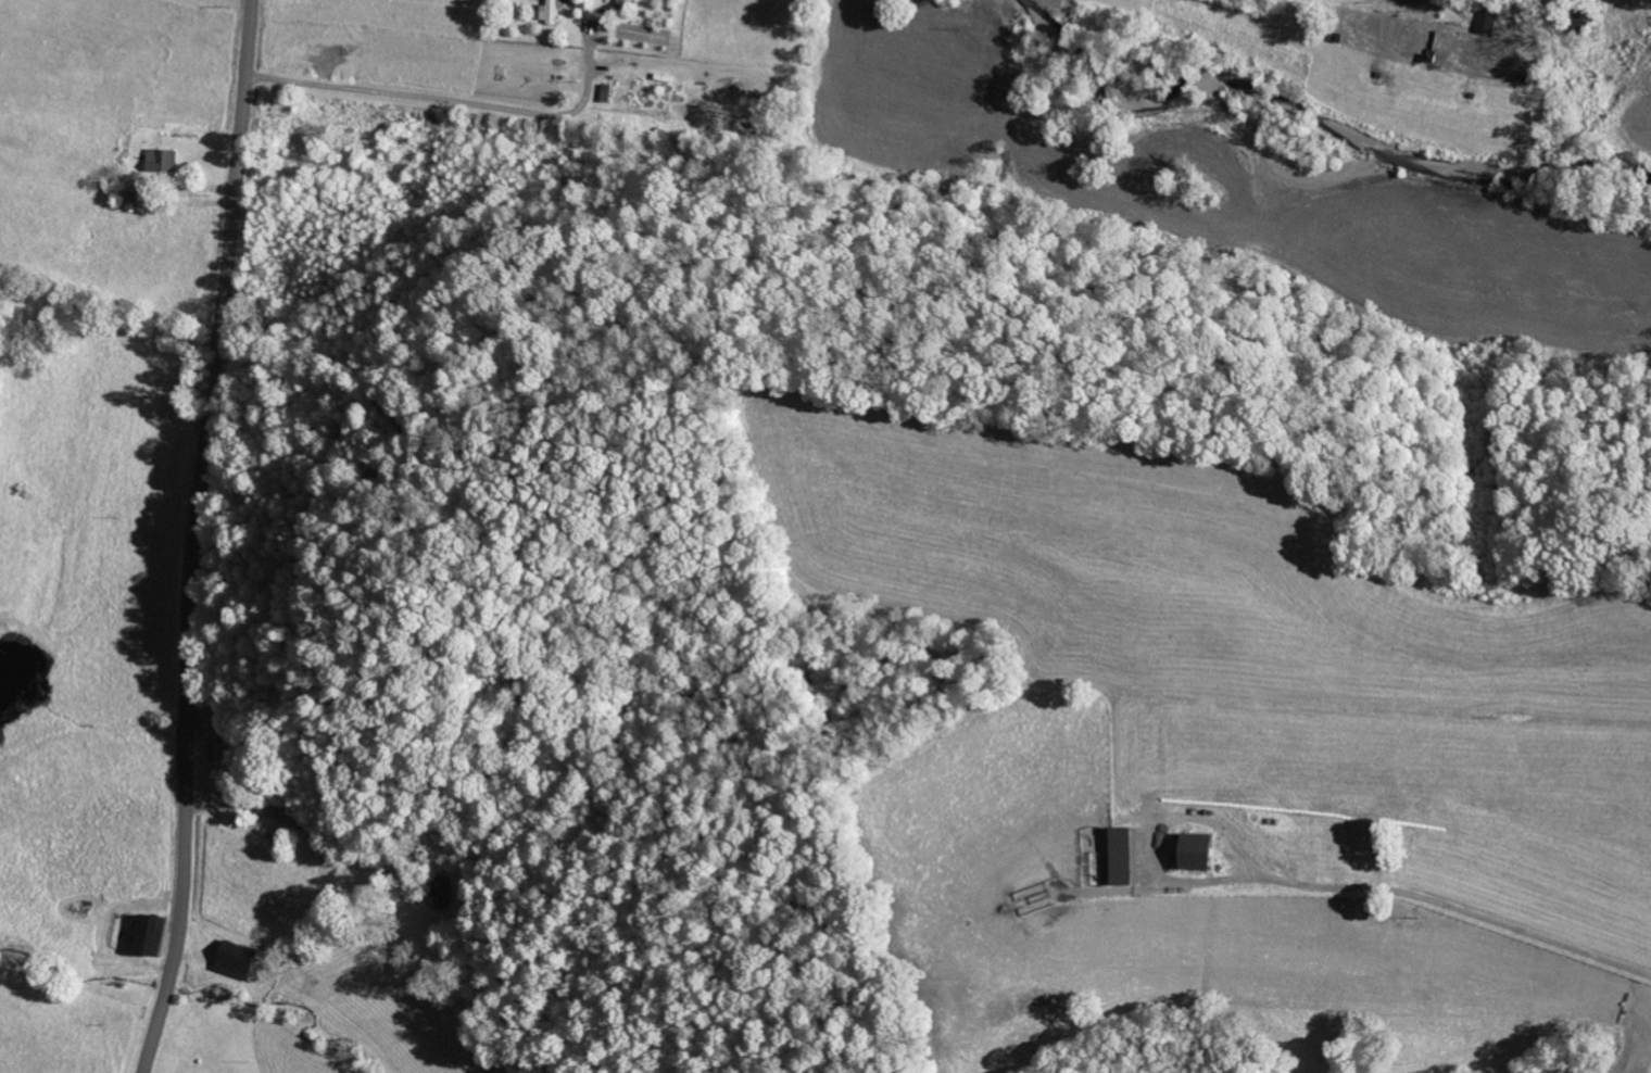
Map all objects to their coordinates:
building: (551, 13)
building: (1486, 23)
building: (162, 162)
building: (130, 201)
road: (193, 536)
building: (219, 752)
building: (1199, 851)
building: (1125, 856)
road: (1464, 896)
building: (153, 934)
building: (237, 961)

